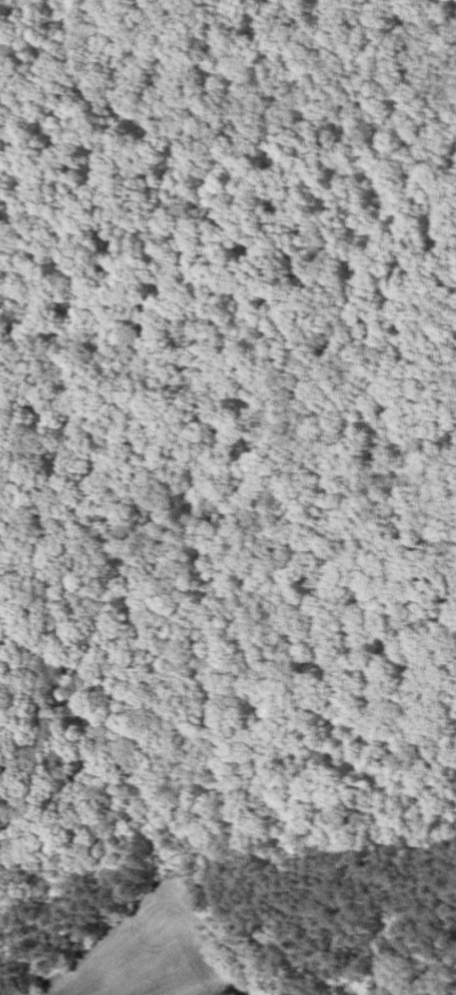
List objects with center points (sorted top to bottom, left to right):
road: (440, 574)

